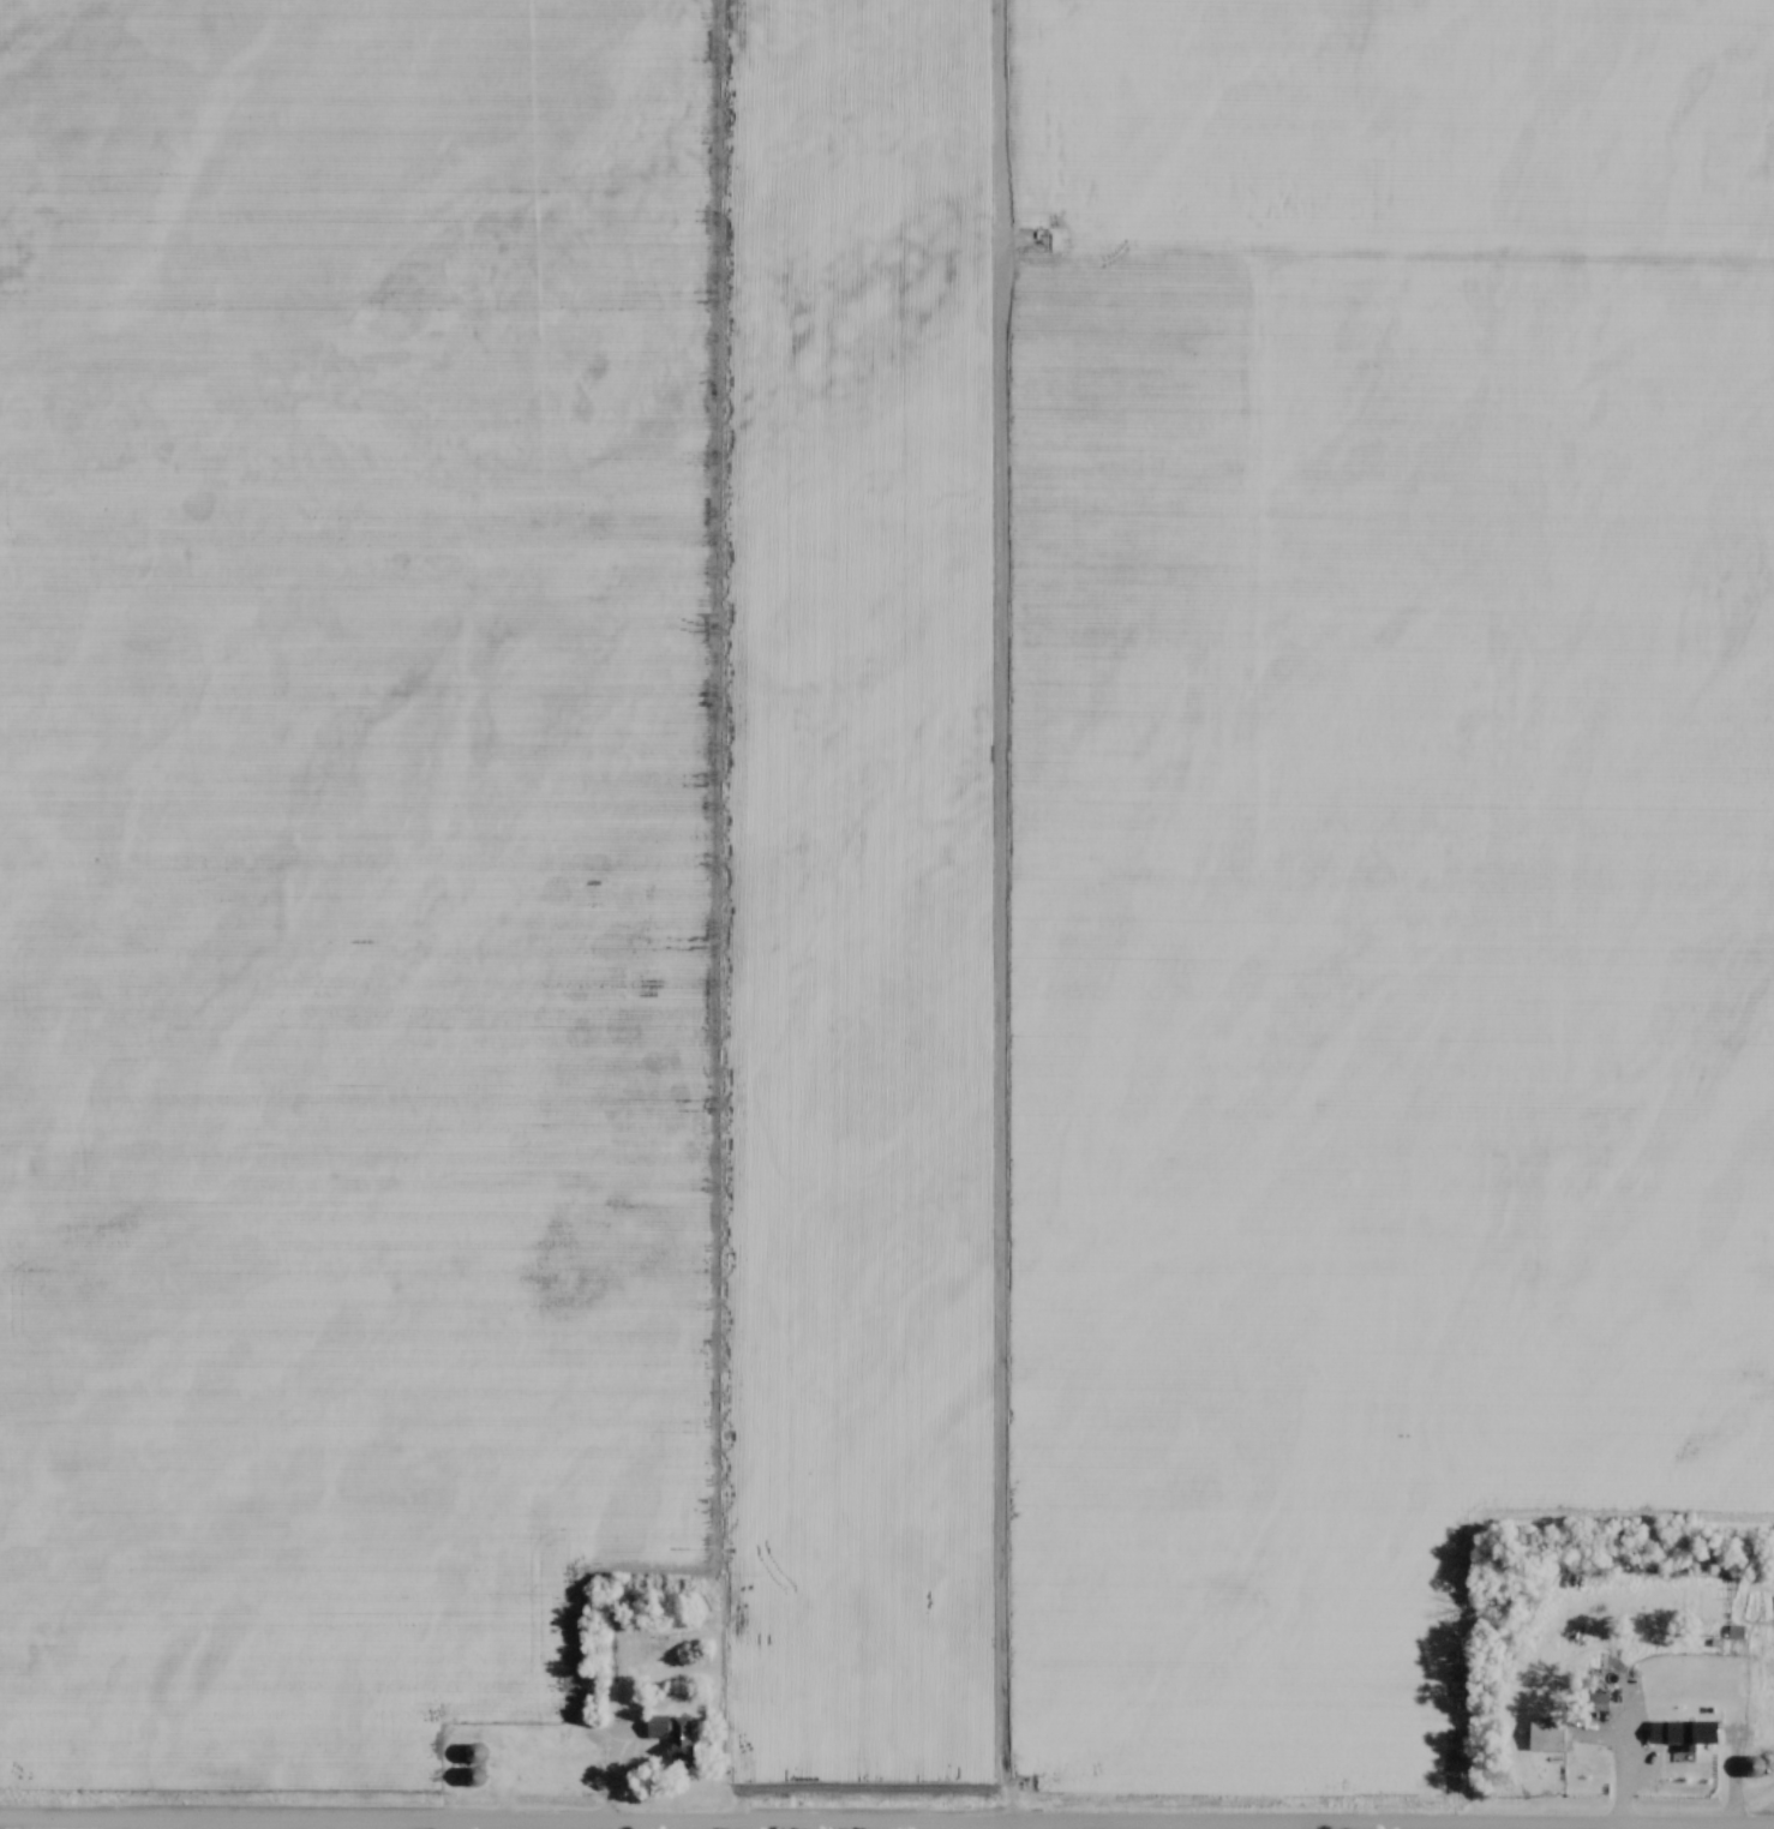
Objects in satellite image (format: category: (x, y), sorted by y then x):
building: (661, 1651)
building: (1601, 1704)
building: (1686, 1734)
building: (1548, 1735)
building: (673, 1737)
building: (477, 1755)
road: (1744, 1805)
road: (318, 1828)

